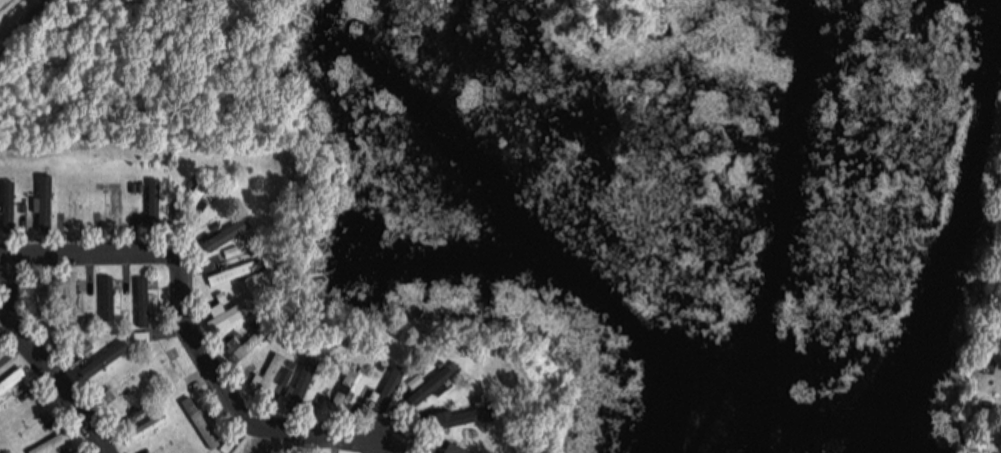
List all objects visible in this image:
road: (180, 272)
building: (235, 272)
building: (109, 296)
building: (38, 297)
building: (144, 300)
building: (236, 311)
road: (40, 357)
building: (107, 358)
building: (173, 366)
building: (272, 371)
building: (395, 378)
building: (14, 380)
building: (307, 380)
building: (347, 388)
building: (423, 394)
building: (128, 395)
building: (457, 417)
building: (55, 442)
road: (368, 452)

